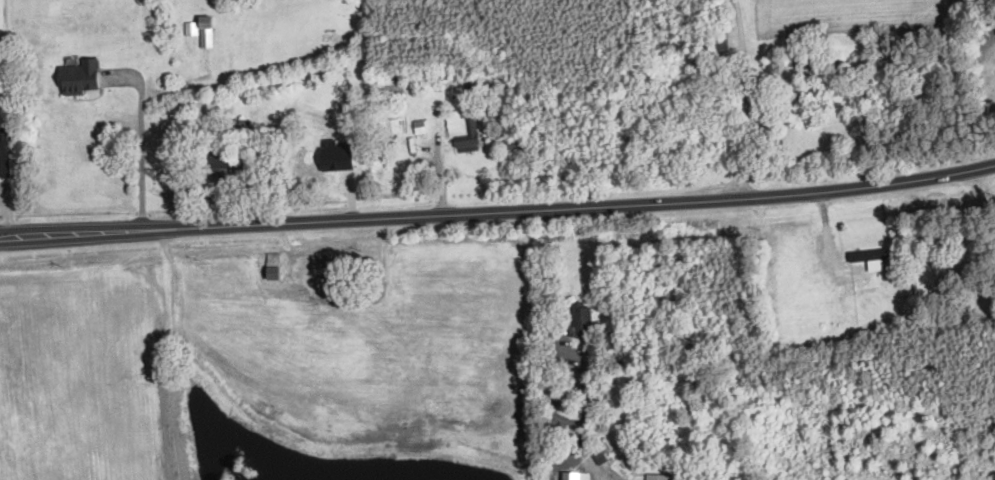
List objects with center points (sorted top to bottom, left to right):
building: (204, 31)
building: (78, 75)
building: (382, 77)
road: (746, 99)
building: (461, 131)
road: (142, 138)
building: (333, 156)
building: (216, 166)
road: (498, 212)
building: (868, 257)
building: (271, 264)
building: (317, 268)
building: (581, 318)
road: (567, 346)
road: (168, 355)
building: (573, 475)
building: (658, 476)

